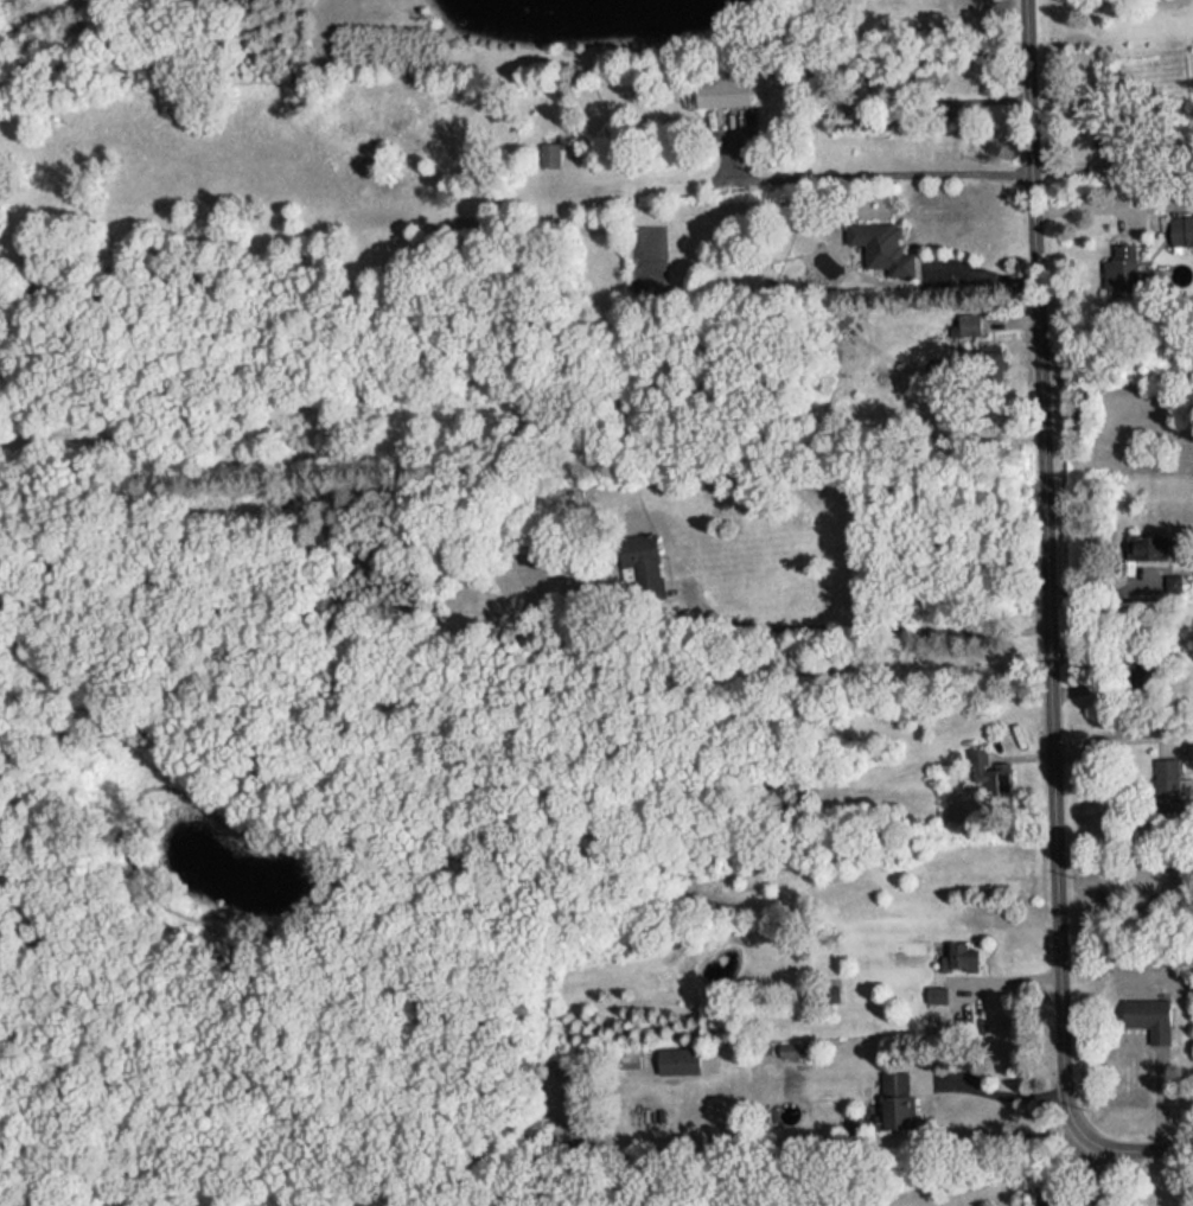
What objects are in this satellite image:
road: (876, 176)
road: (1089, 204)
building: (872, 231)
building: (1143, 540)
road: (1041, 631)
building: (989, 764)
building: (957, 950)
building: (1147, 1009)
building: (675, 1052)
building: (893, 1085)
road: (997, 1096)
road: (1066, 1172)

